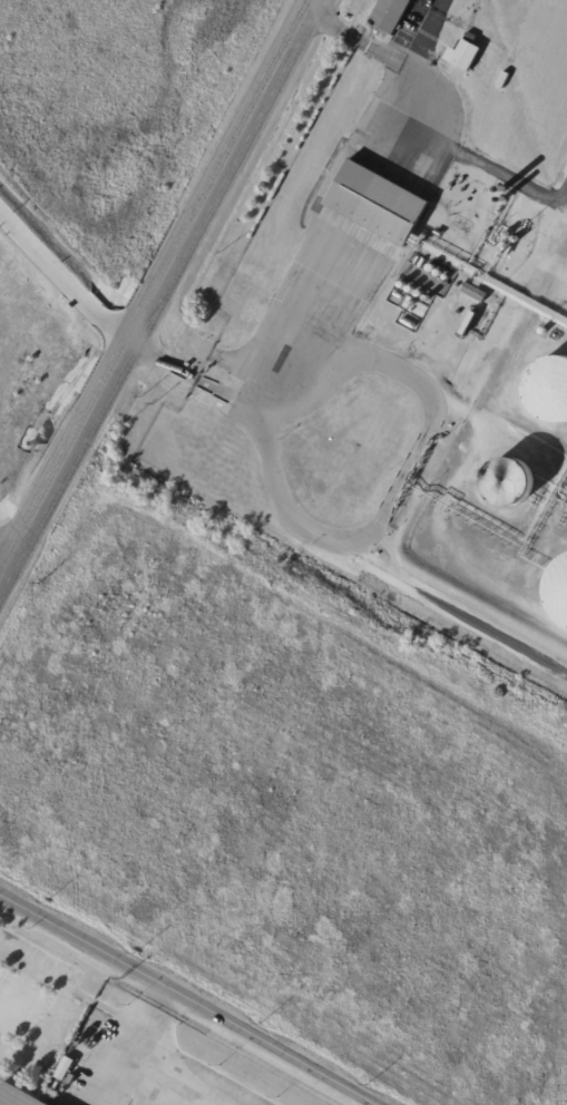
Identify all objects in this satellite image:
building: (392, 14)
road: (355, 40)
building: (467, 53)
building: (478, 70)
building: (380, 203)
road: (319, 275)
road: (63, 277)
road: (154, 289)
building: (477, 293)
building: (470, 323)
road: (398, 492)
road: (4, 555)
road: (14, 994)
road: (188, 999)
road: (58, 1001)
road: (174, 1008)
road: (130, 1064)
building: (22, 1094)

